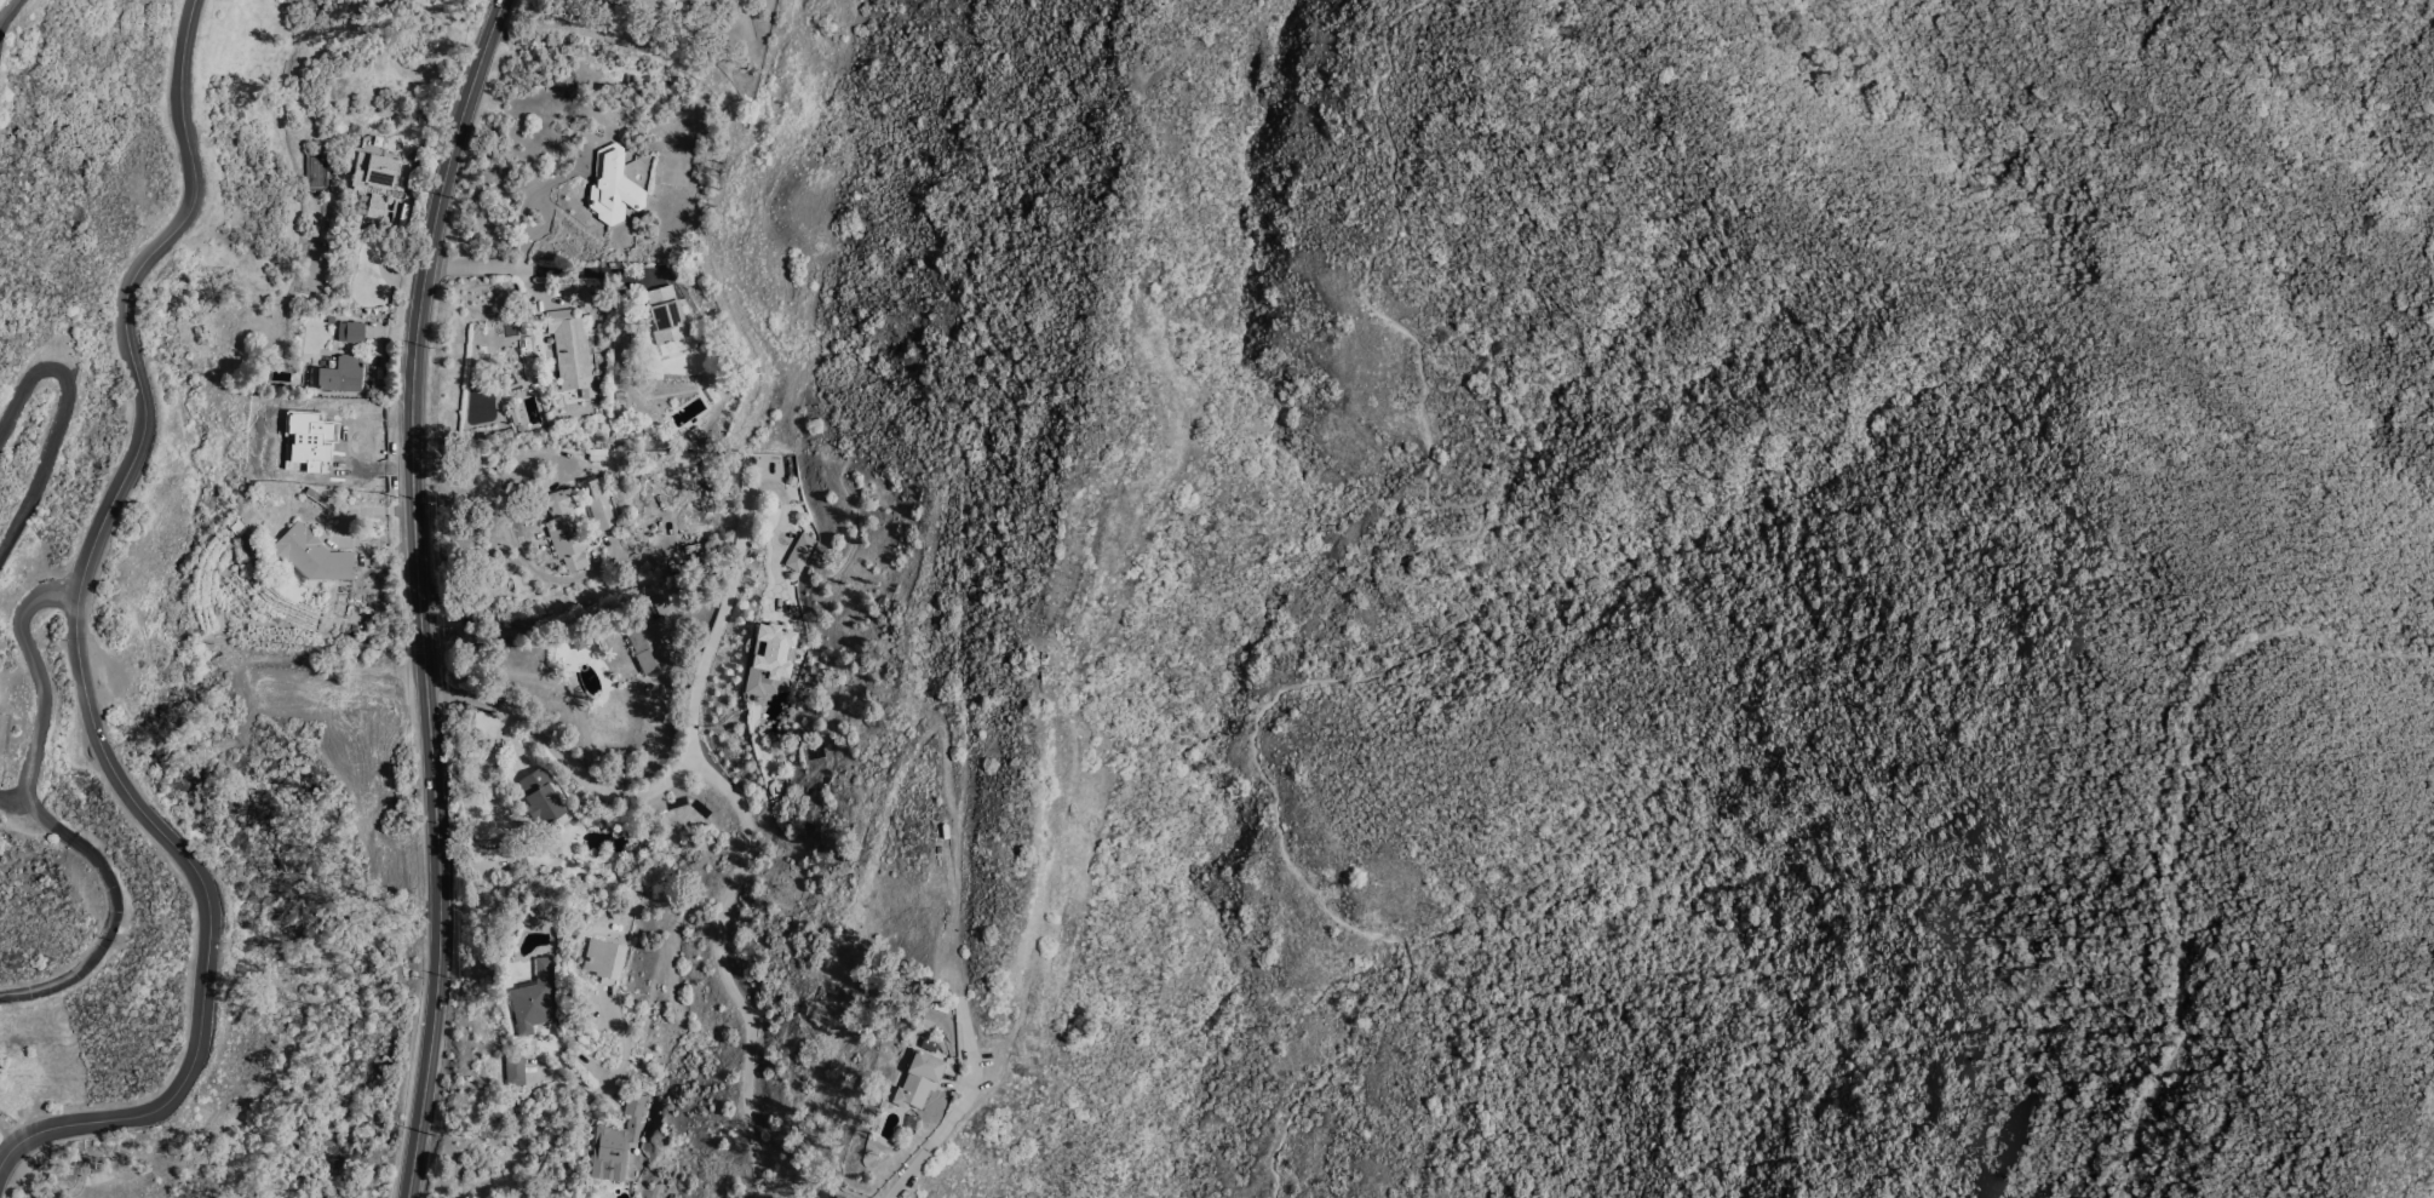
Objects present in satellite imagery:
road: (7, 8)
building: (375, 173)
building: (613, 188)
building: (361, 204)
building: (377, 206)
road: (529, 271)
building: (667, 321)
building: (351, 332)
road: (415, 334)
building: (569, 345)
building: (341, 376)
road: (64, 422)
building: (599, 455)
road: (482, 464)
building: (599, 506)
building: (566, 531)
building: (800, 554)
building: (312, 556)
building: (655, 608)
road: (1458, 623)
building: (579, 638)
building: (647, 647)
road: (82, 653)
building: (770, 660)
road: (457, 690)
road: (42, 704)
road: (676, 780)
building: (541, 797)
road: (12, 801)
road: (2176, 820)
road: (440, 940)
road: (107, 944)
building: (604, 959)
road: (725, 965)
building: (534, 999)
building: (926, 1047)
building: (515, 1071)
building: (919, 1079)
building: (643, 1083)
road: (965, 1108)
road: (578, 1114)
road: (2411, 1129)
road: (11, 1133)
building: (616, 1142)
road: (536, 1171)
road: (29, 1174)
building: (833, 1197)

